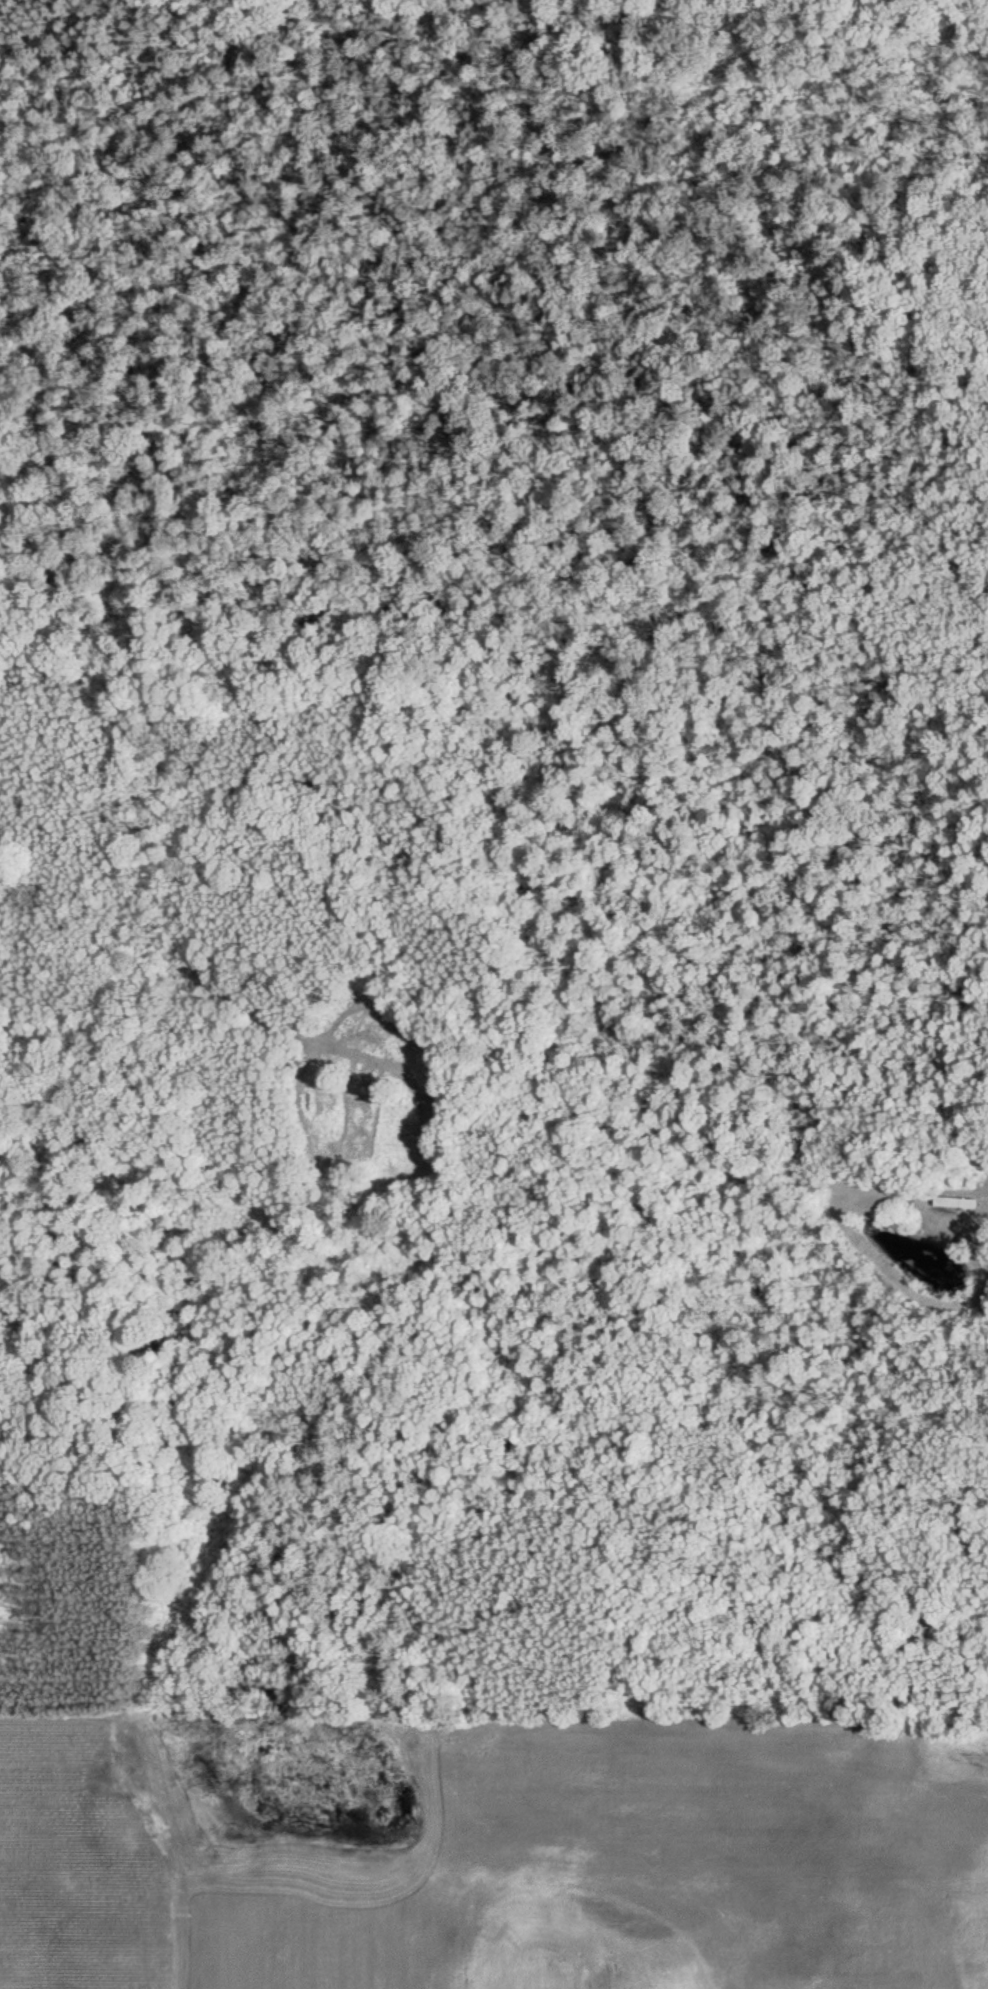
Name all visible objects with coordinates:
building: (973, 1193)

